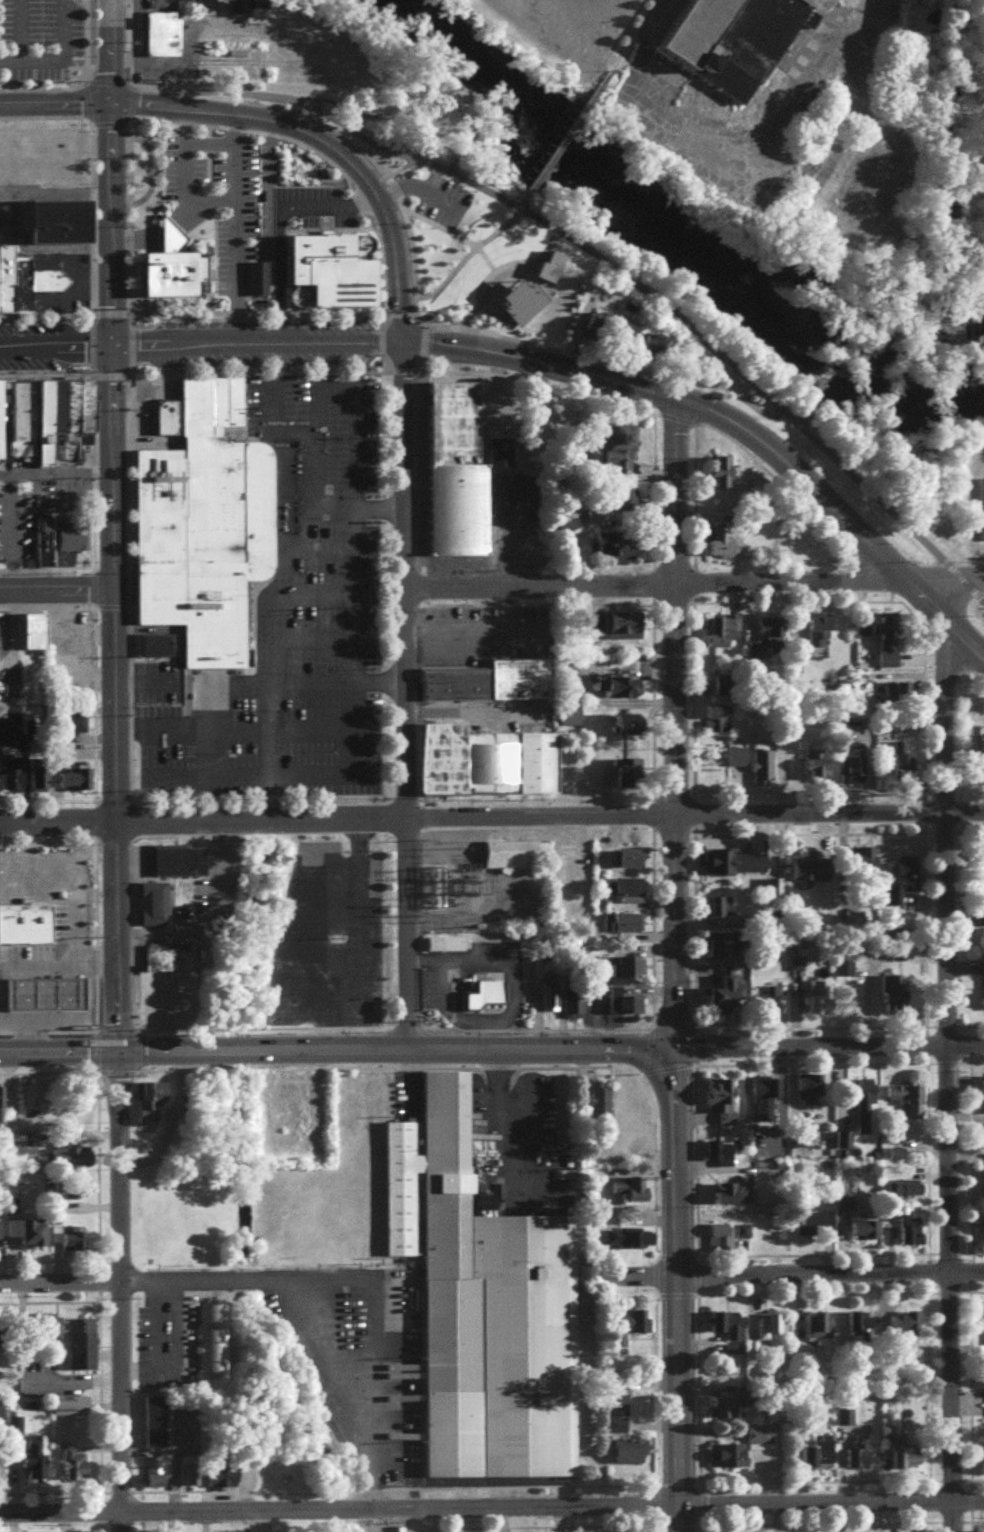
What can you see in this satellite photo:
building: (237, 5)
building: (918, 15)
building: (586, 26)
road: (13, 29)
parking lot: (135, 34)
building: (158, 34)
road: (626, 36)
parking lot: (38, 38)
road: (82, 39)
road: (129, 42)
building: (734, 43)
road: (51, 52)
road: (42, 87)
road: (406, 87)
road: (274, 97)
road: (85, 98)
road: (454, 98)
road: (129, 102)
traffic signals: (108, 103)
road: (154, 105)
road: (334, 105)
road: (107, 123)
road: (205, 128)
road: (565, 144)
road: (126, 148)
building: (47, 162)
road: (150, 167)
road: (108, 171)
road: (181, 171)
road: (417, 189)
road: (54, 192)
parking lot: (439, 199)
road: (280, 205)
parking lot: (309, 207)
road: (183, 215)
road: (90, 217)
building: (51, 221)
road: (5, 222)
road: (436, 226)
road: (232, 228)
road: (164, 230)
road: (133, 239)
river: (671, 243)
road: (462, 255)
road: (485, 261)
building: (546, 264)
building: (166, 266)
building: (326, 271)
road: (278, 273)
road: (502, 273)
building: (43, 274)
building: (5, 277)
building: (254, 279)
parking lot: (64, 286)
building: (519, 297)
building: (445, 308)
road: (109, 313)
road: (398, 314)
building: (573, 317)
street lamp: (30, 321)
street lamp: (56, 321)
road: (379, 327)
building: (598, 331)
road: (515, 338)
building: (628, 338)
road: (128, 342)
road: (189, 342)
traffic signals: (111, 343)
road: (90, 344)
road: (421, 344)
road: (380, 354)
road: (528, 358)
road: (399, 368)
road: (254, 369)
street lamp: (34, 374)
street lamp: (60, 374)
road: (109, 374)
road: (534, 383)
road: (331, 387)
road: (765, 392)
road: (698, 406)
building: (54, 407)
building: (2, 408)
building: (82, 412)
building: (164, 416)
road: (667, 417)
building: (14, 418)
building: (67, 418)
building: (35, 420)
road: (721, 436)
building: (617, 444)
building: (497, 451)
street lamp: (95, 454)
street lamp: (126, 454)
building: (719, 468)
road: (91, 470)
building: (452, 472)
road: (55, 474)
building: (517, 490)
parking lot: (60, 491)
street lamp: (96, 491)
street lamp: (126, 491)
road: (649, 493)
building: (627, 506)
building: (977, 506)
road: (350, 509)
road: (964, 516)
road: (837, 517)
parking lot: (16, 518)
building: (206, 521)
road: (7, 528)
street lamp: (96, 530)
street lamp: (127, 530)
building: (70, 537)
building: (720, 538)
building: (41, 540)
road: (975, 540)
building: (615, 542)
road: (315, 546)
street lamp: (96, 564)
street lamp: (126, 565)
road: (403, 573)
road: (868, 575)
road: (689, 582)
road: (942, 582)
road: (267, 584)
road: (92, 585)
road: (128, 585)
road: (652, 585)
road: (57, 588)
road: (650, 588)
road: (310, 591)
road: (348, 596)
road: (793, 602)
road: (534, 603)
road: (264, 612)
road: (907, 612)
parking lot: (289, 625)
road: (246, 626)
building: (29, 631)
building: (627, 631)
building: (820, 635)
building: (38, 637)
building: (722, 637)
road: (306, 638)
building: (155, 645)
building: (768, 645)
building: (884, 646)
road: (948, 650)
building: (305, 663)
road: (178, 670)
road: (145, 671)
road: (975, 675)
building: (516, 680)
parking lot: (155, 681)
building: (451, 683)
road: (298, 684)
building: (620, 691)
road: (690, 695)
building: (898, 698)
road: (182, 700)
road: (650, 700)
road: (93, 701)
road: (921, 708)
building: (715, 719)
building: (572, 720)
road: (673, 723)
building: (75, 728)
road: (243, 730)
building: (630, 731)
road: (348, 732)
road: (264, 752)
building: (482, 759)
building: (768, 768)
building: (858, 769)
building: (9, 773)
building: (910, 773)
building: (37, 774)
building: (820, 774)
building: (73, 776)
building: (627, 776)
road: (244, 780)
building: (42, 784)
road: (805, 791)
road: (111, 796)
road: (534, 799)
road: (921, 812)
road: (650, 814)
road: (690, 814)
road: (94, 818)
road: (492, 818)
road: (968, 833)
road: (936, 834)
road: (806, 835)
road: (111, 838)
road: (47, 840)
building: (511, 851)
building: (626, 856)
building: (175, 858)
building: (736, 868)
building: (863, 868)
building: (452, 869)
power substation: (452, 869)
building: (813, 874)
building: (26, 879)
building: (903, 885)
building: (983, 885)
building: (630, 893)
building: (153, 901)
building: (720, 911)
building: (982, 920)
building: (24, 923)
gas station: (24, 923)
building: (628, 928)
road: (71, 929)
road: (649, 929)
road: (691, 931)
road: (93, 933)
road: (115, 937)
parking lot: (326, 938)
building: (447, 949)
building: (716, 950)
road: (57, 964)
building: (170, 964)
building: (844, 969)
building: (631, 973)
building: (39, 992)
building: (87, 994)
building: (729, 996)
building: (488, 1001)
building: (552, 1002)
building: (820, 1003)
building: (900, 1004)
building: (769, 1006)
building: (575, 1007)
building: (624, 1007)
road: (131, 1020)
road: (27, 1022)
building: (52, 1024)
road: (405, 1025)
road: (670, 1026)
road: (114, 1027)
road: (534, 1027)
road: (806, 1028)
road: (828, 1046)
road: (645, 1047)
road: (692, 1047)
road: (137, 1048)
road: (337, 1048)
traffic signals: (115, 1051)
road: (807, 1065)
road: (477, 1066)
road: (662, 1067)
road: (944, 1079)
building: (808, 1094)
building: (147, 1099)
building: (765, 1100)
building: (983, 1101)
building: (721, 1102)
building: (864, 1102)
building: (909, 1104)
building: (1, 1105)
building: (842, 1121)
building: (720, 1155)
road: (692, 1162)
building: (68, 1163)
building: (983, 1176)
building: (914, 1194)
building: (630, 1195)
building: (65, 1196)
building: (732, 1200)
building: (814, 1229)
building: (864, 1235)
building: (30, 1238)
building: (908, 1241)
building: (721, 1243)
building: (70, 1244)
building: (1, 1246)
road: (830, 1277)
road: (188, 1283)
road: (677, 1289)
building: (481, 1304)
building: (912, 1325)
building: (47, 1330)
building: (629, 1330)
building: (732, 1331)
building: (819, 1332)
building: (213, 1348)
building: (83, 1349)
road: (379, 1396)
building: (72, 1411)
building: (722, 1412)
building: (2, 1416)
building: (845, 1421)
building: (158, 1427)
building: (740, 1455)
building: (630, 1457)
building: (860, 1457)
building: (824, 1458)
building: (906, 1460)
building: (36, 1465)
building: (76, 1472)
building: (159, 1478)
building: (231, 1483)
road: (492, 1509)

